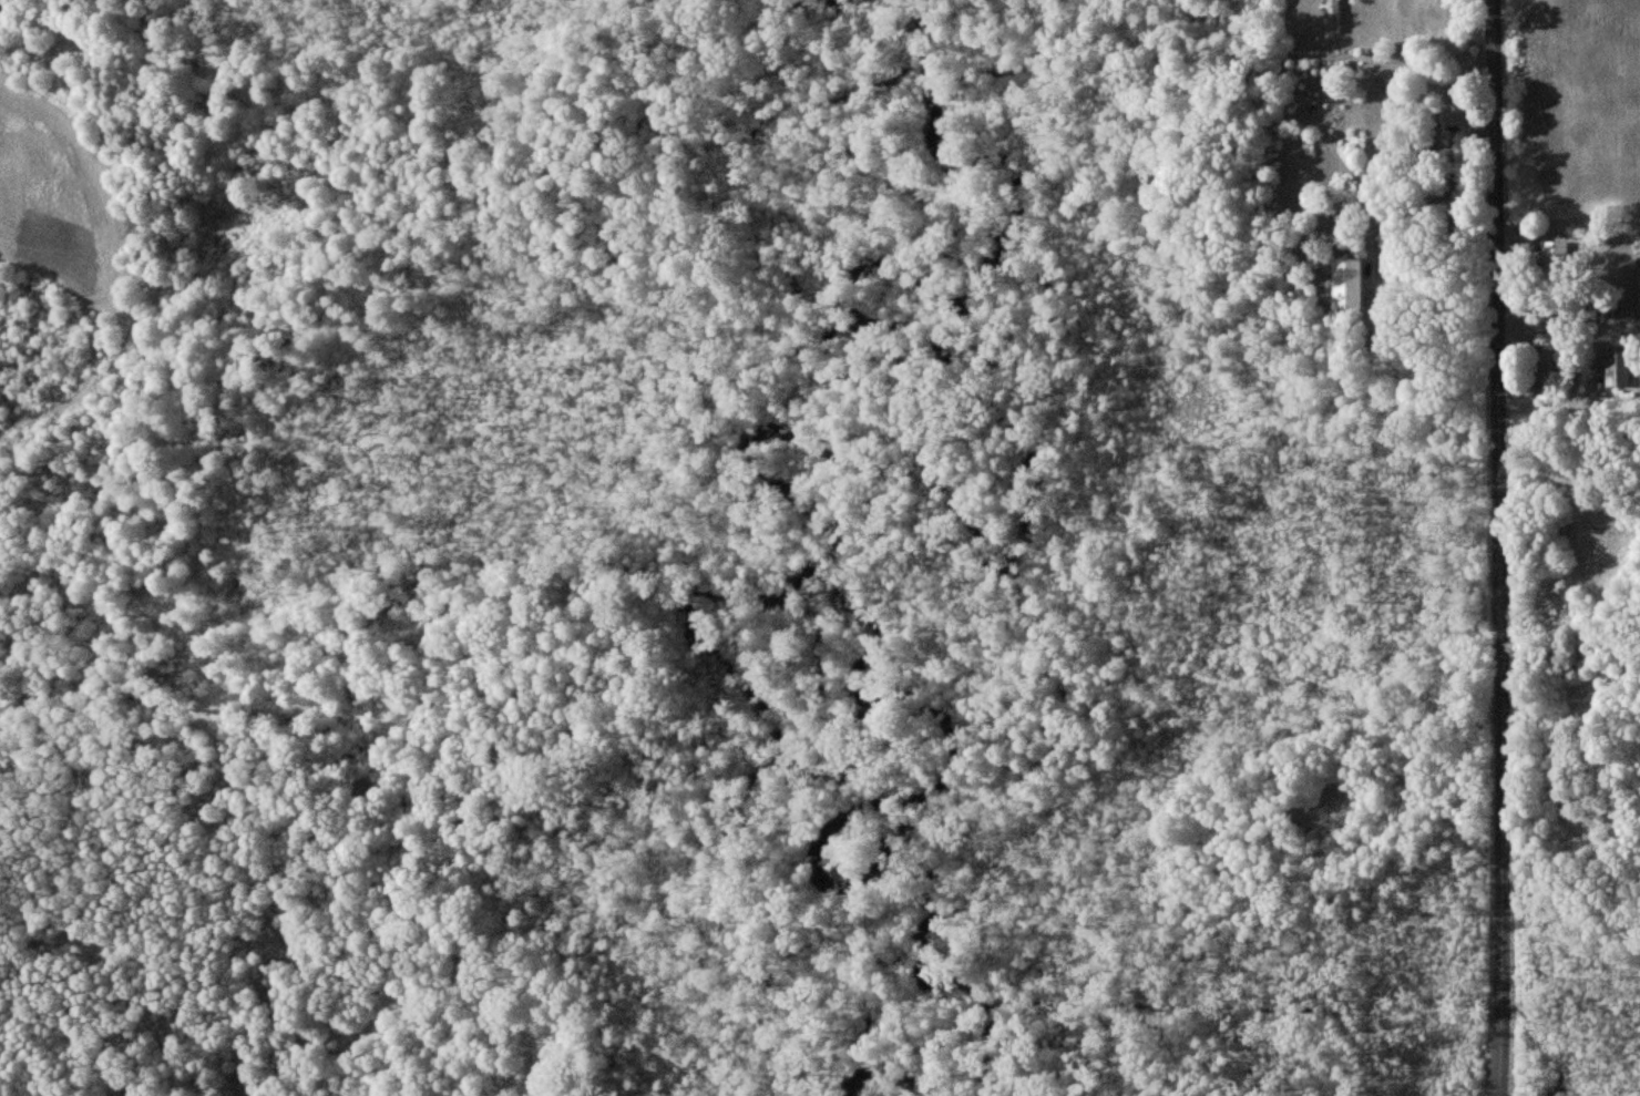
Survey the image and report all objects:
building: (1347, 283)
building: (1618, 367)
building: (1546, 373)
road: (1498, 547)

